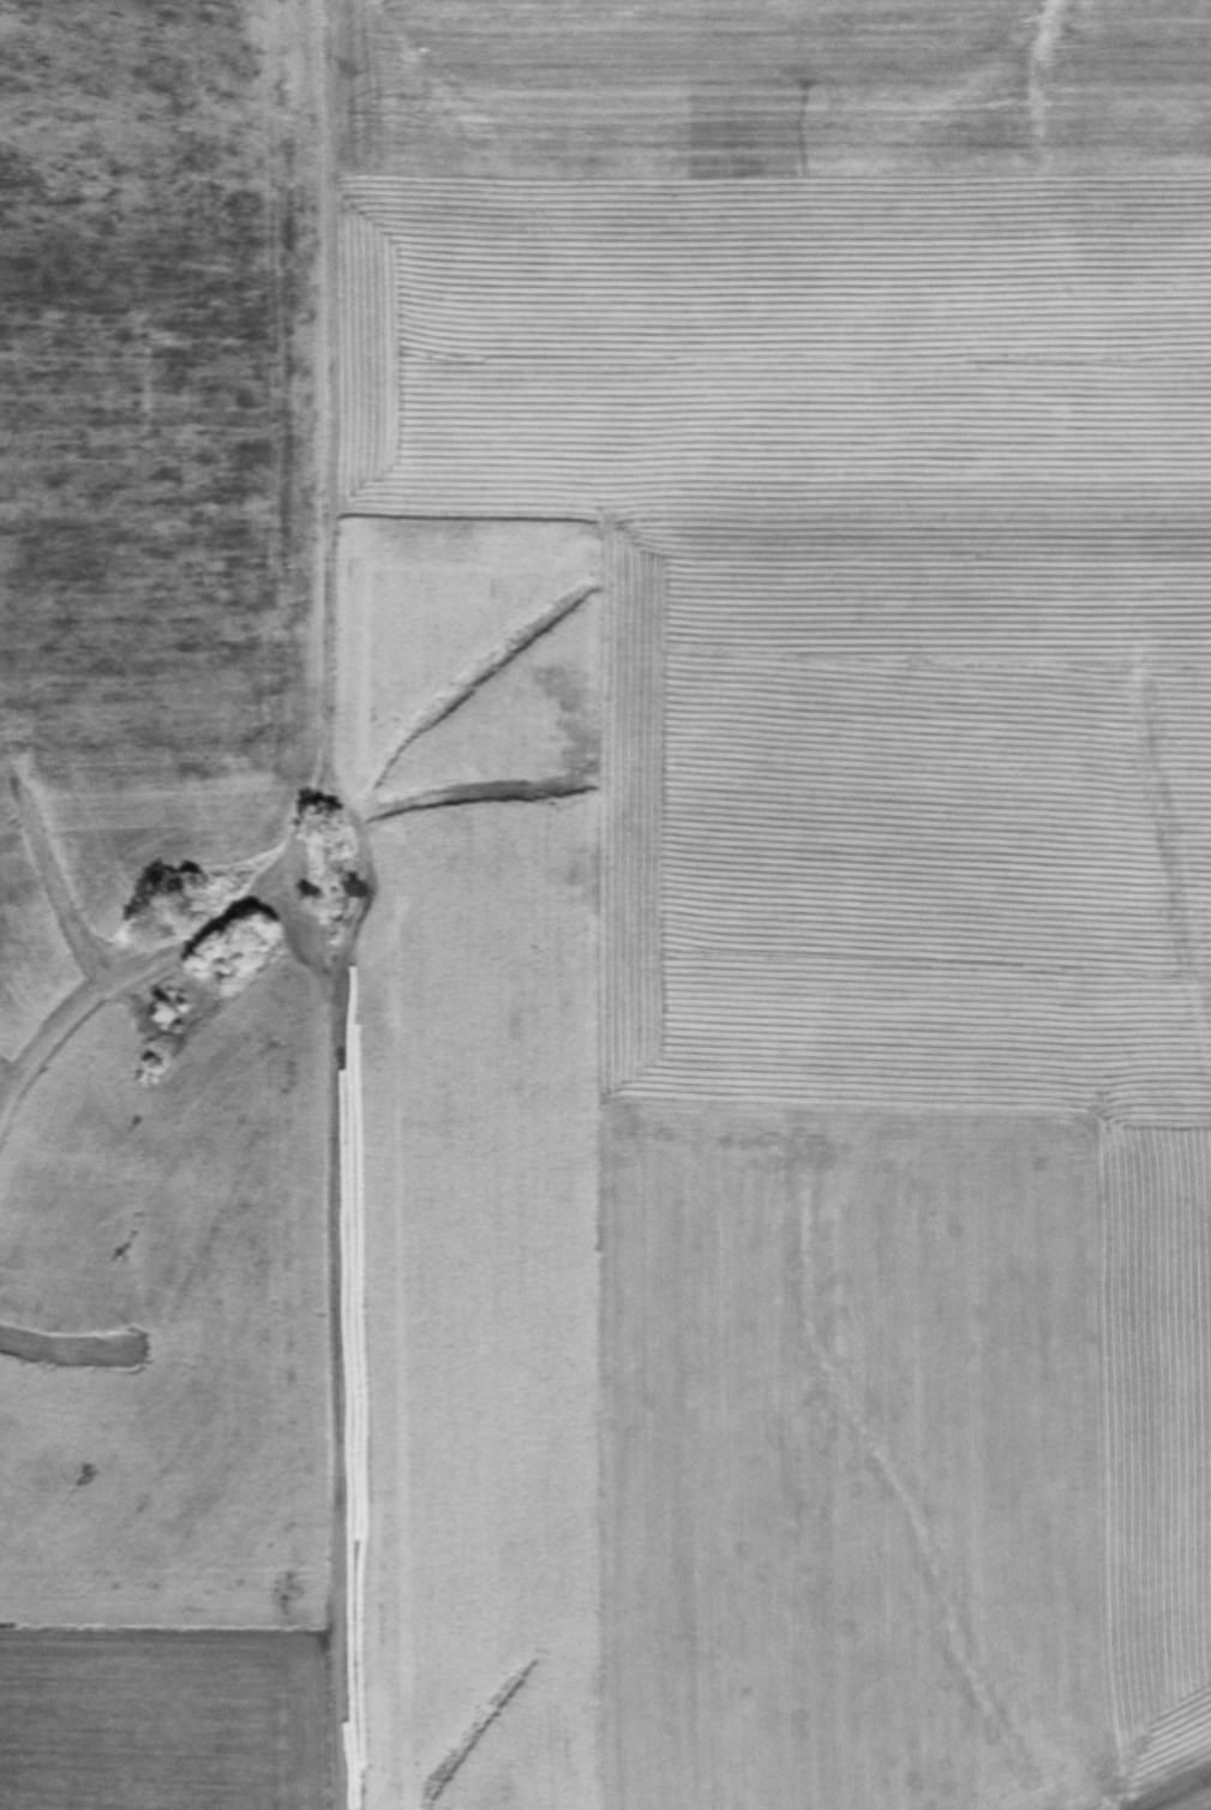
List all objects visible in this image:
road: (1187, 1798)

